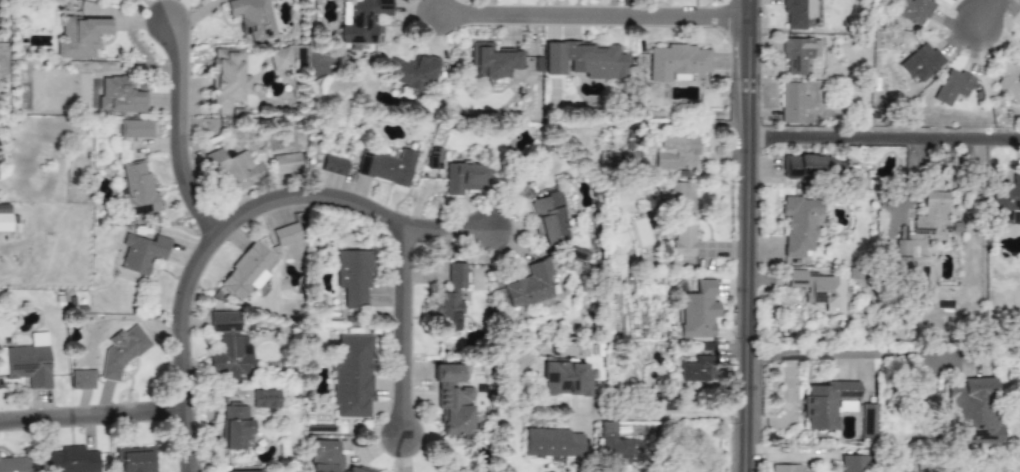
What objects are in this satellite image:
building: (86, 0)
building: (913, 11)
road: (991, 12)
building: (797, 13)
building: (252, 17)
road: (598, 17)
building: (360, 20)
building: (80, 37)
building: (1019, 40)
building: (799, 54)
building: (280, 59)
building: (584, 60)
building: (493, 61)
building: (677, 62)
building: (921, 63)
building: (414, 72)
building: (229, 77)
building: (1008, 80)
building: (952, 87)
building: (121, 95)
building: (792, 103)
building: (134, 129)
road: (181, 136)
road: (887, 137)
building: (675, 152)
building: (619, 159)
building: (286, 163)
building: (333, 165)
building: (386, 167)
building: (808, 167)
building: (236, 170)
building: (465, 178)
building: (140, 189)
building: (679, 196)
building: (1008, 202)
building: (932, 217)
building: (4, 218)
building: (548, 218)
road: (235, 224)
building: (799, 224)
building: (286, 234)
road: (752, 235)
building: (682, 236)
building: (142, 253)
building: (902, 255)
building: (246, 272)
building: (353, 278)
building: (529, 285)
building: (820, 289)
building: (450, 300)
building: (698, 310)
road: (405, 332)
building: (230, 346)
building: (122, 352)
road: (859, 353)
building: (28, 365)
building: (698, 370)
building: (352, 375)
building: (565, 378)
building: (82, 380)
building: (266, 400)
building: (453, 401)
building: (826, 403)
building: (846, 406)
building: (973, 413)
road: (93, 418)
road: (668, 418)
building: (869, 421)
building: (237, 429)
building: (551, 443)
building: (616, 447)
building: (324, 456)
building: (70, 460)
building: (135, 460)
building: (854, 463)
building: (16, 464)
building: (785, 468)
building: (256, 471)
building: (357, 471)

